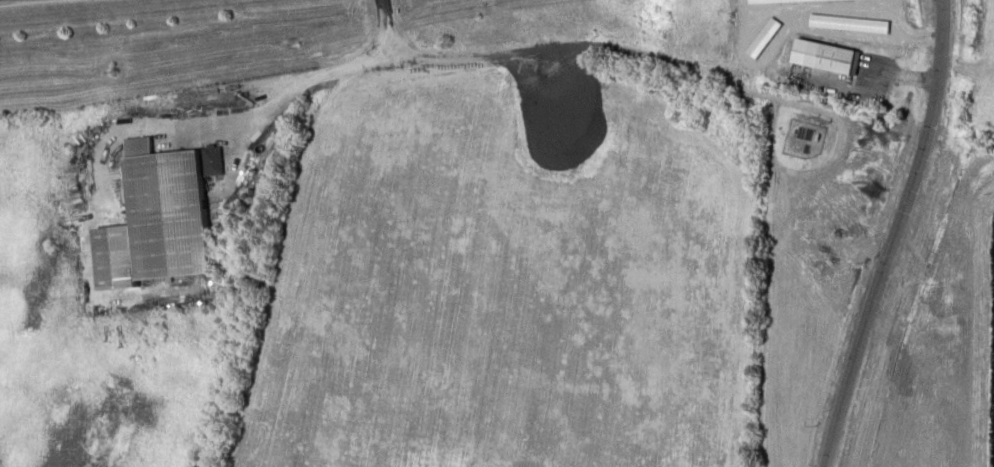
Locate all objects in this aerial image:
building: (822, 55)
building: (161, 210)
road: (894, 235)

